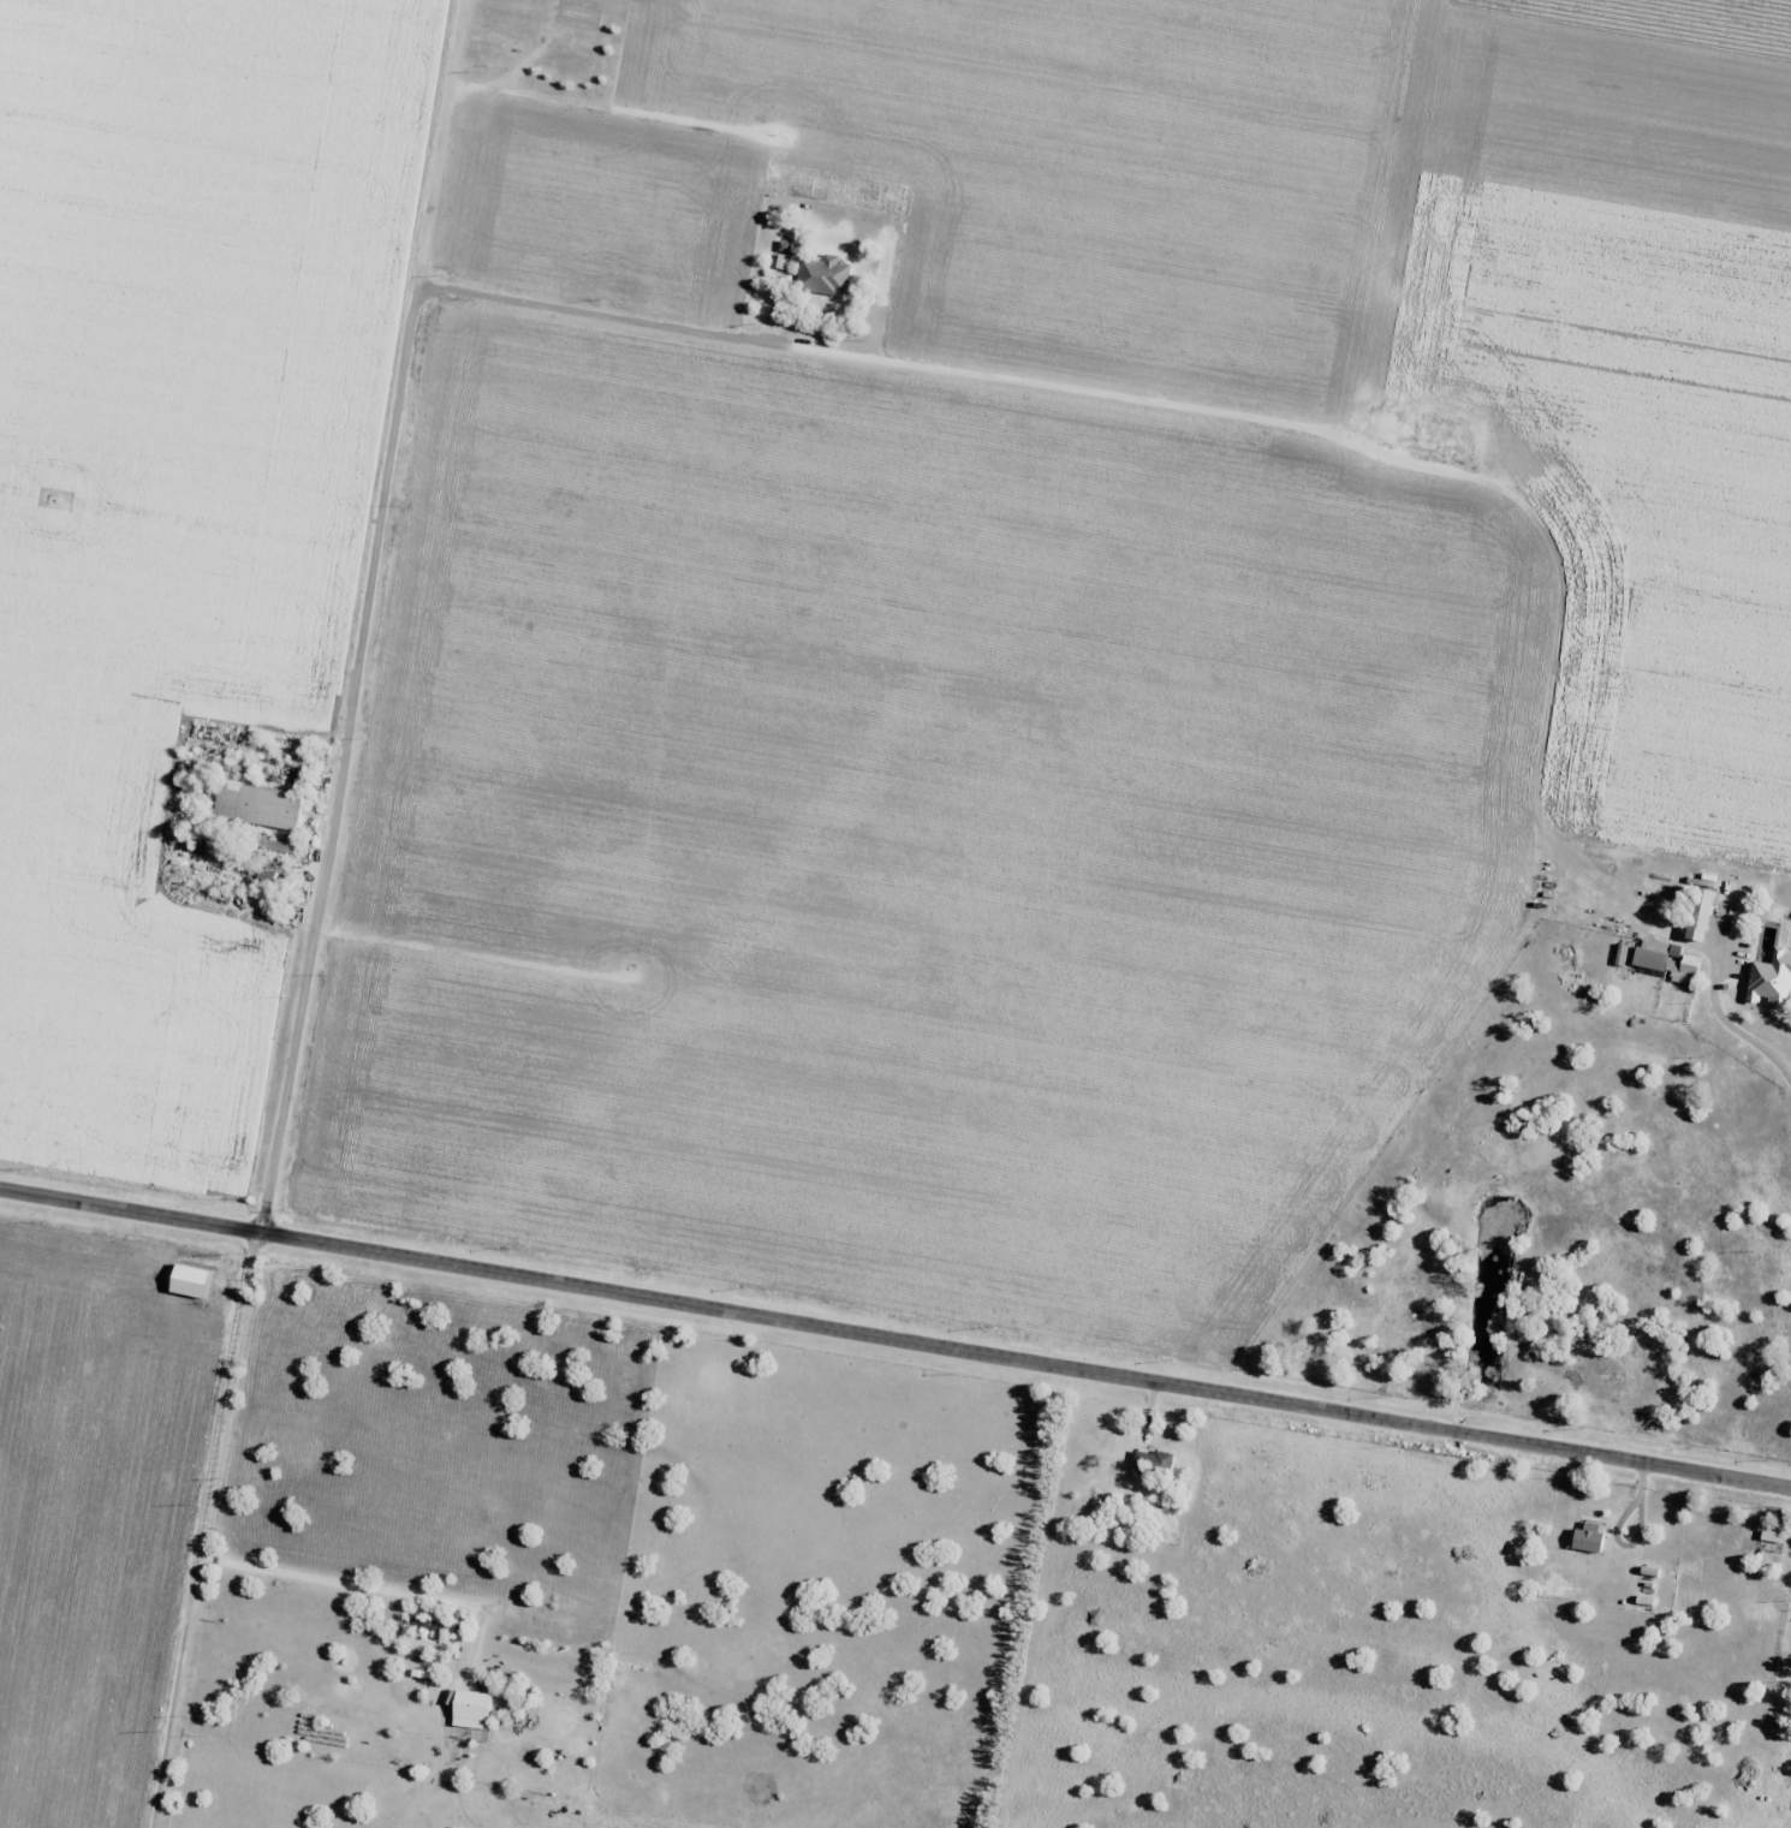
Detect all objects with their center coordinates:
building: (823, 275)
building: (257, 806)
road: (314, 913)
building: (1697, 917)
building: (1739, 917)
building: (1664, 960)
building: (188, 1281)
road: (895, 1350)
building: (1152, 1463)
building: (1587, 1536)
building: (472, 1705)

